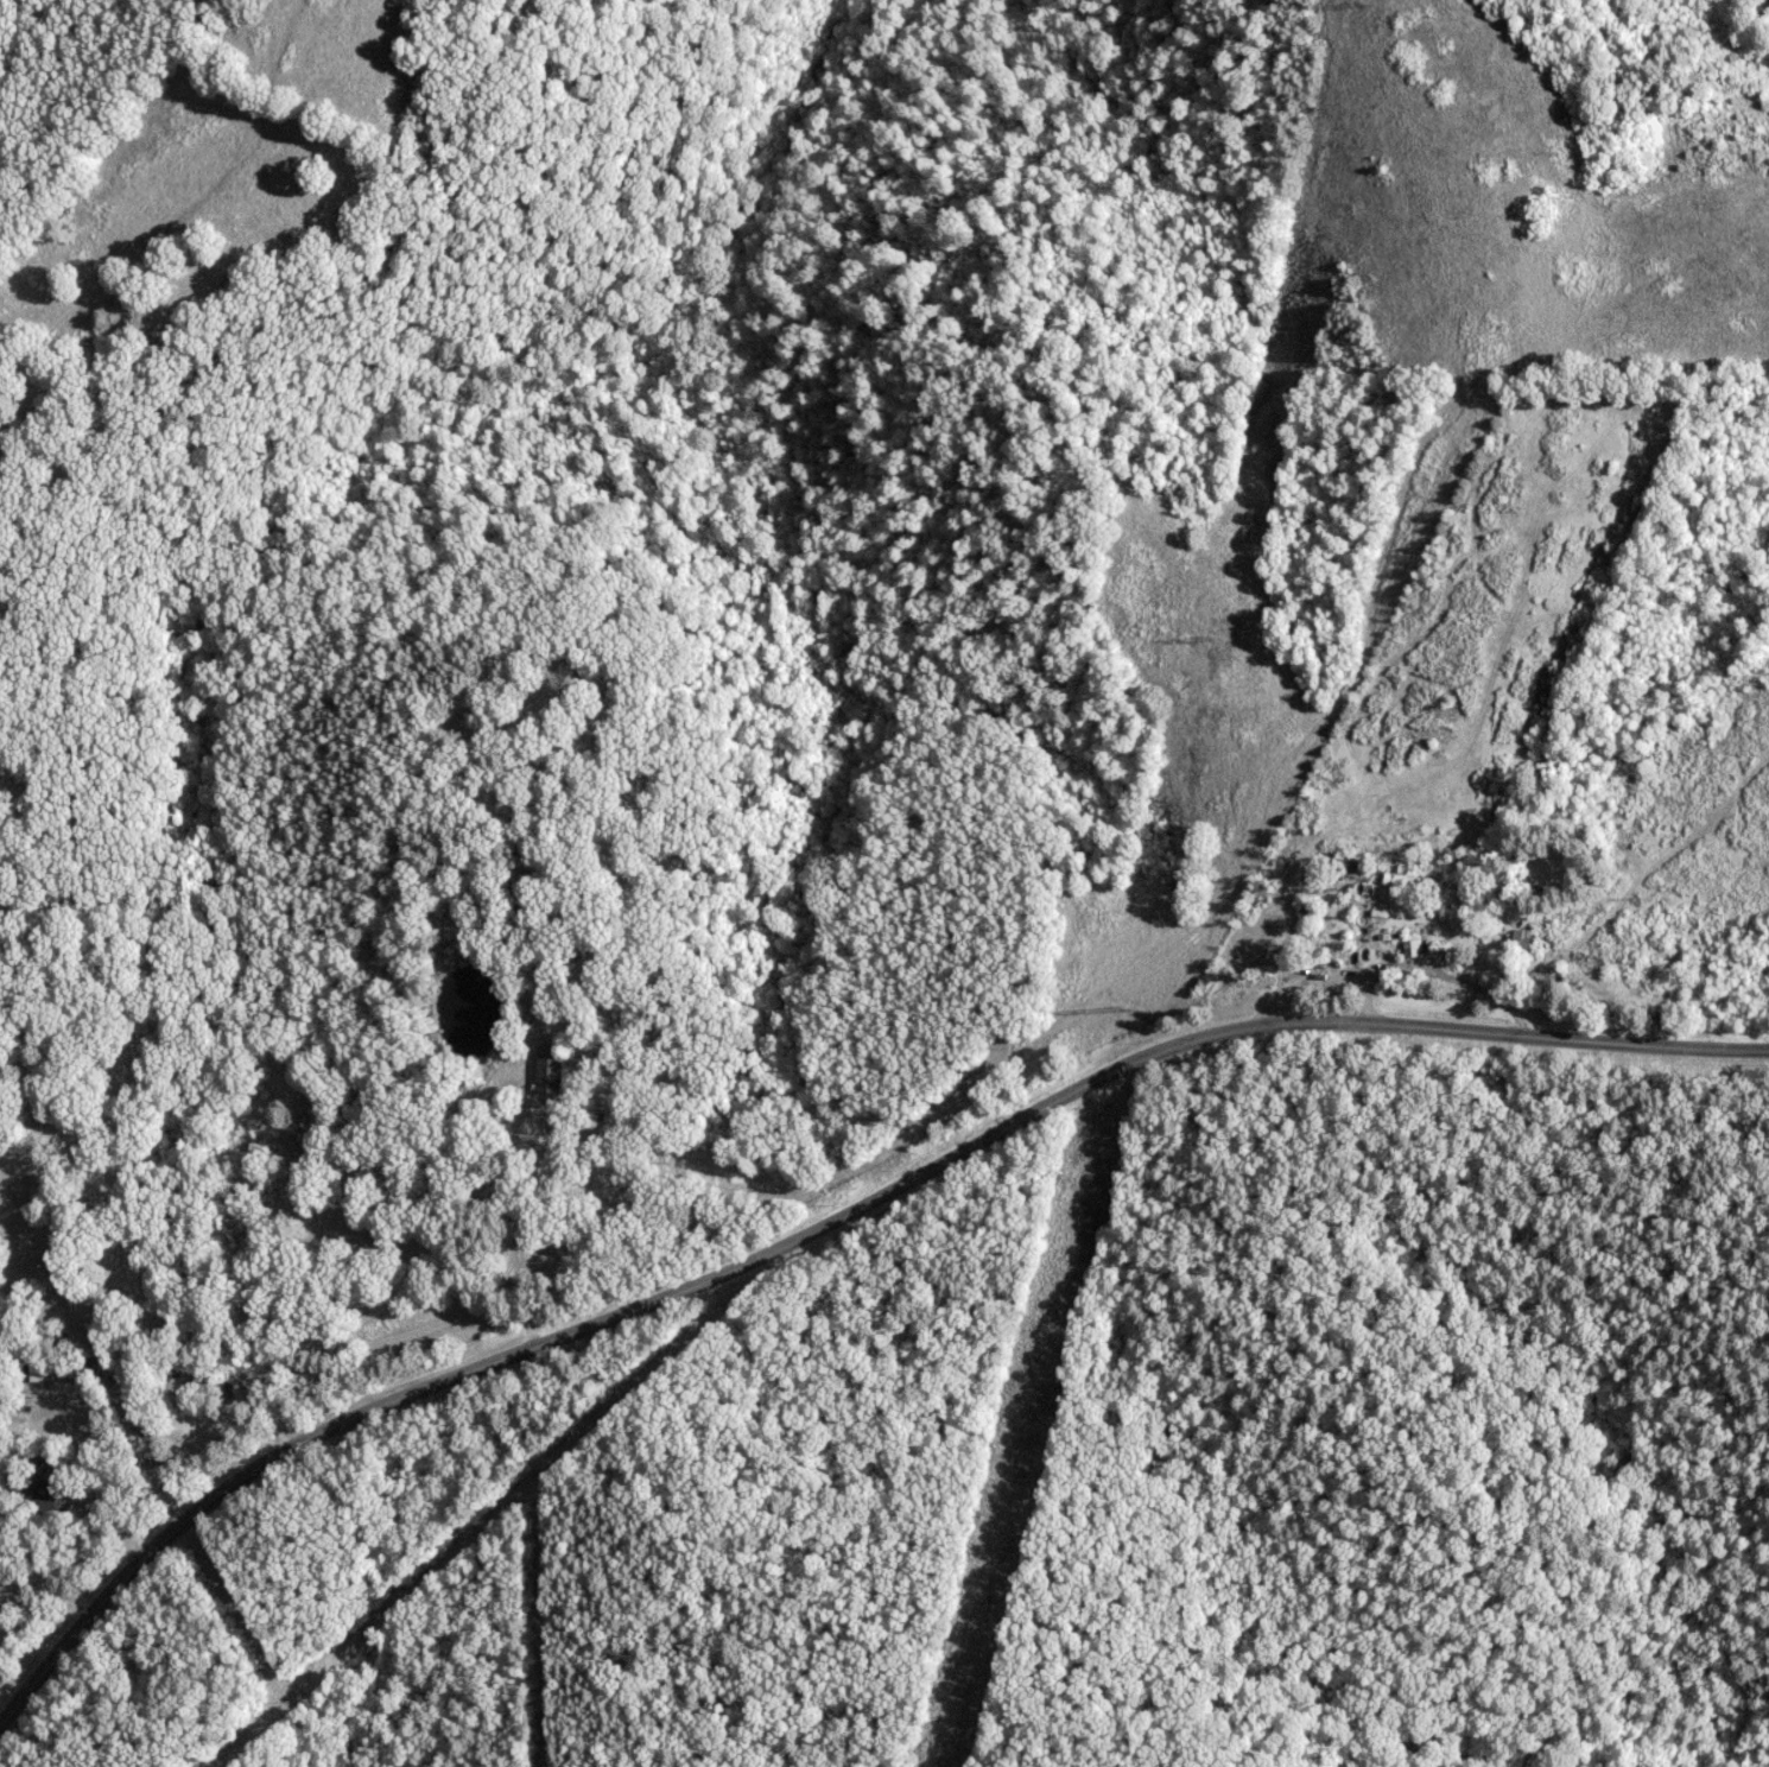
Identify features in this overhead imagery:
power tower: (1368, 4)
power tower: (1211, 638)
building: (1410, 881)
building: (1518, 938)
building: (1409, 946)
power tower: (1121, 1008)
building: (544, 1069)
road: (826, 1222)
building: (39, 1367)
road: (118, 1402)
building: (39, 1486)
power tower: (958, 1700)

